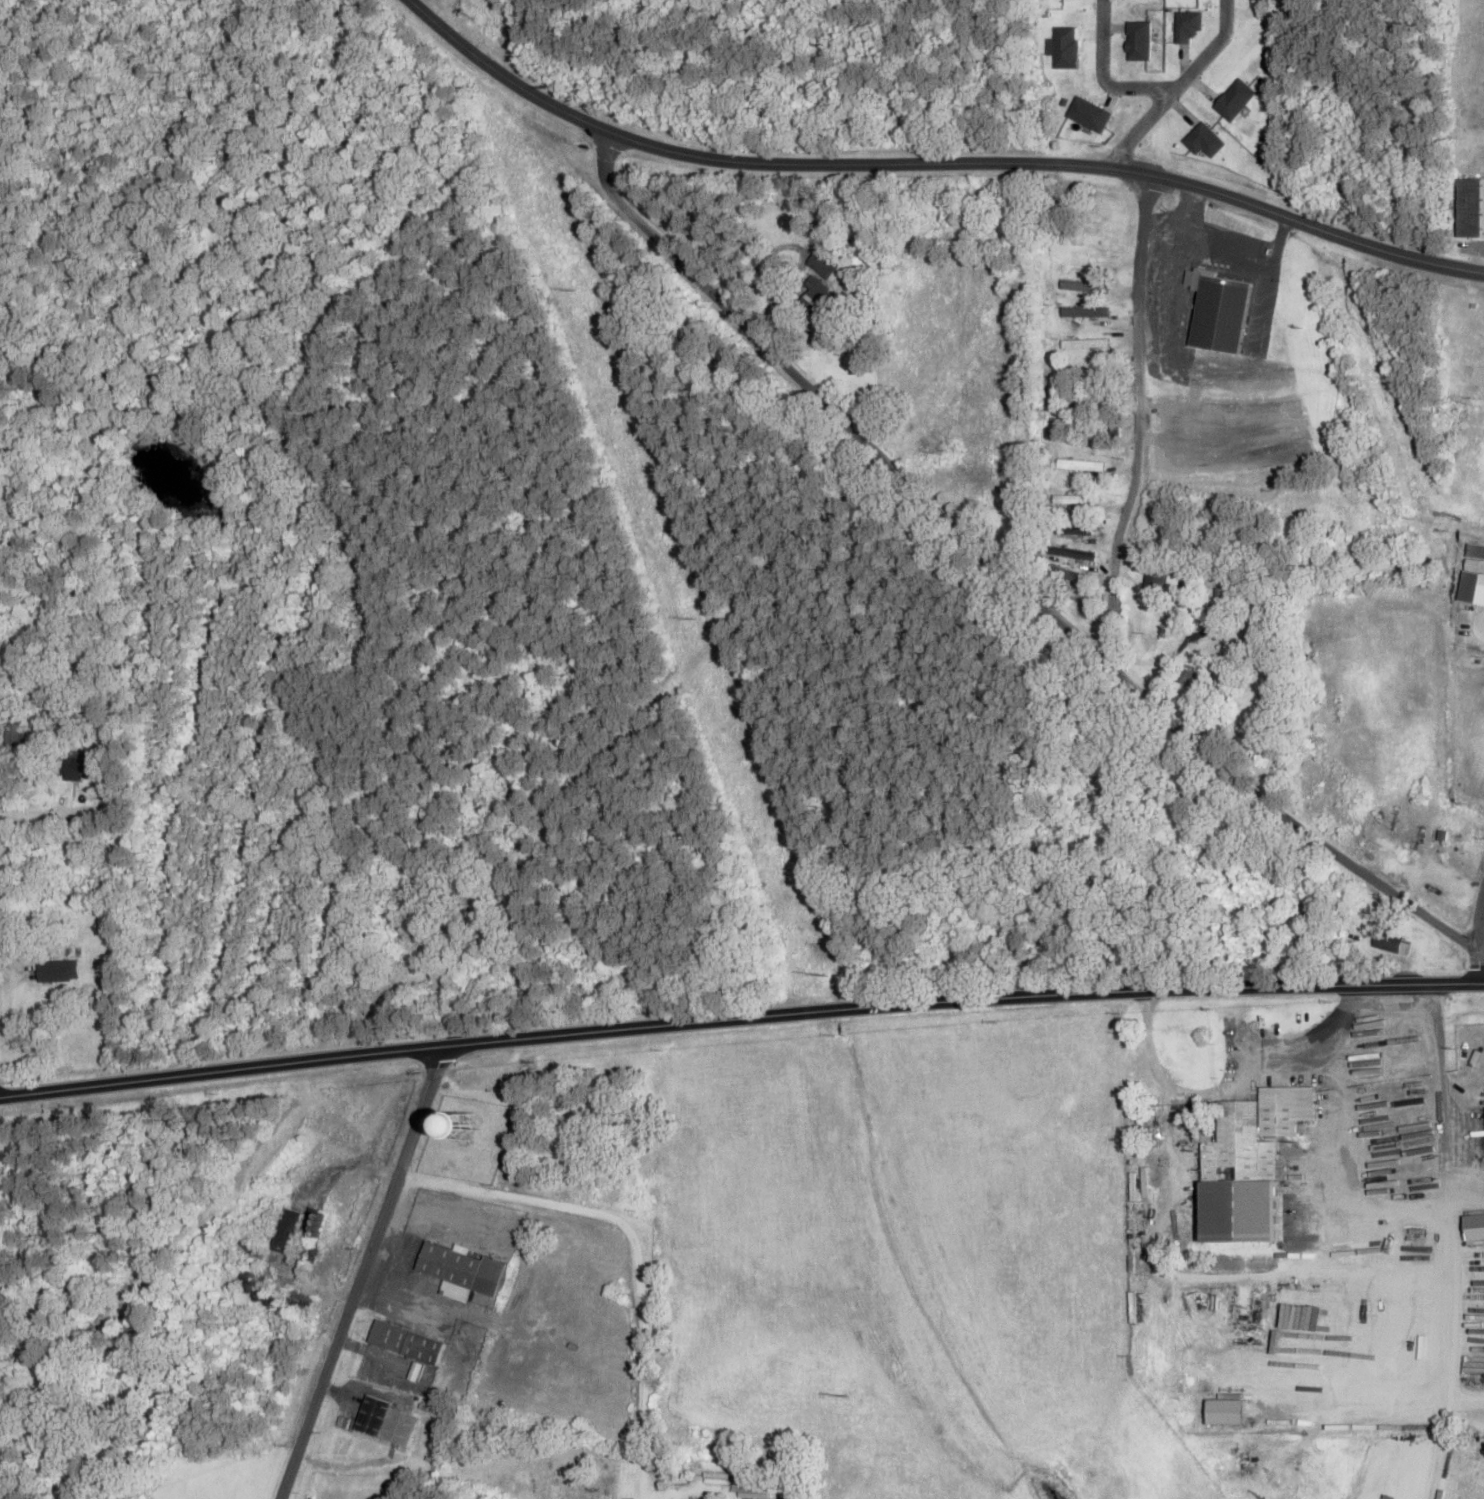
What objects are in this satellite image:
building: (1187, 23)
building: (1139, 37)
building: (1065, 44)
road: (1207, 49)
road: (1102, 74)
building: (1234, 96)
building: (1090, 111)
road: (1139, 126)
building: (1203, 137)
road: (758, 160)
building: (1469, 205)
road: (1315, 225)
building: (823, 262)
building: (1083, 287)
power tower: (563, 288)
building: (818, 297)
building: (1084, 313)
building: (1218, 313)
building: (1084, 345)
building: (1089, 399)
building: (1091, 403)
road: (1139, 415)
building: (1080, 465)
building: (979, 476)
building: (1075, 501)
building: (1073, 527)
building: (1473, 554)
road: (1000, 570)
building: (1060, 571)
building: (1156, 580)
building: (1221, 605)
power tower: (685, 616)
building: (1193, 679)
building: (73, 764)
road: (1476, 932)
building: (1385, 938)
building: (1403, 944)
building: (57, 968)
power tower: (809, 974)
road: (1390, 1013)
road: (740, 1017)
road: (1435, 1027)
road: (1340, 1036)
building: (1181, 1044)
road: (1210, 1087)
water tower: (464, 1123)
building: (466, 1124)
road: (1449, 1133)
building: (1249, 1143)
building: (1154, 1170)
road: (1342, 1195)
building: (1472, 1223)
building: (285, 1227)
road: (635, 1241)
building: (461, 1267)
road: (360, 1272)
road: (1235, 1277)
building: (405, 1339)
road: (1444, 1385)
power tower: (838, 1393)
building: (385, 1418)

